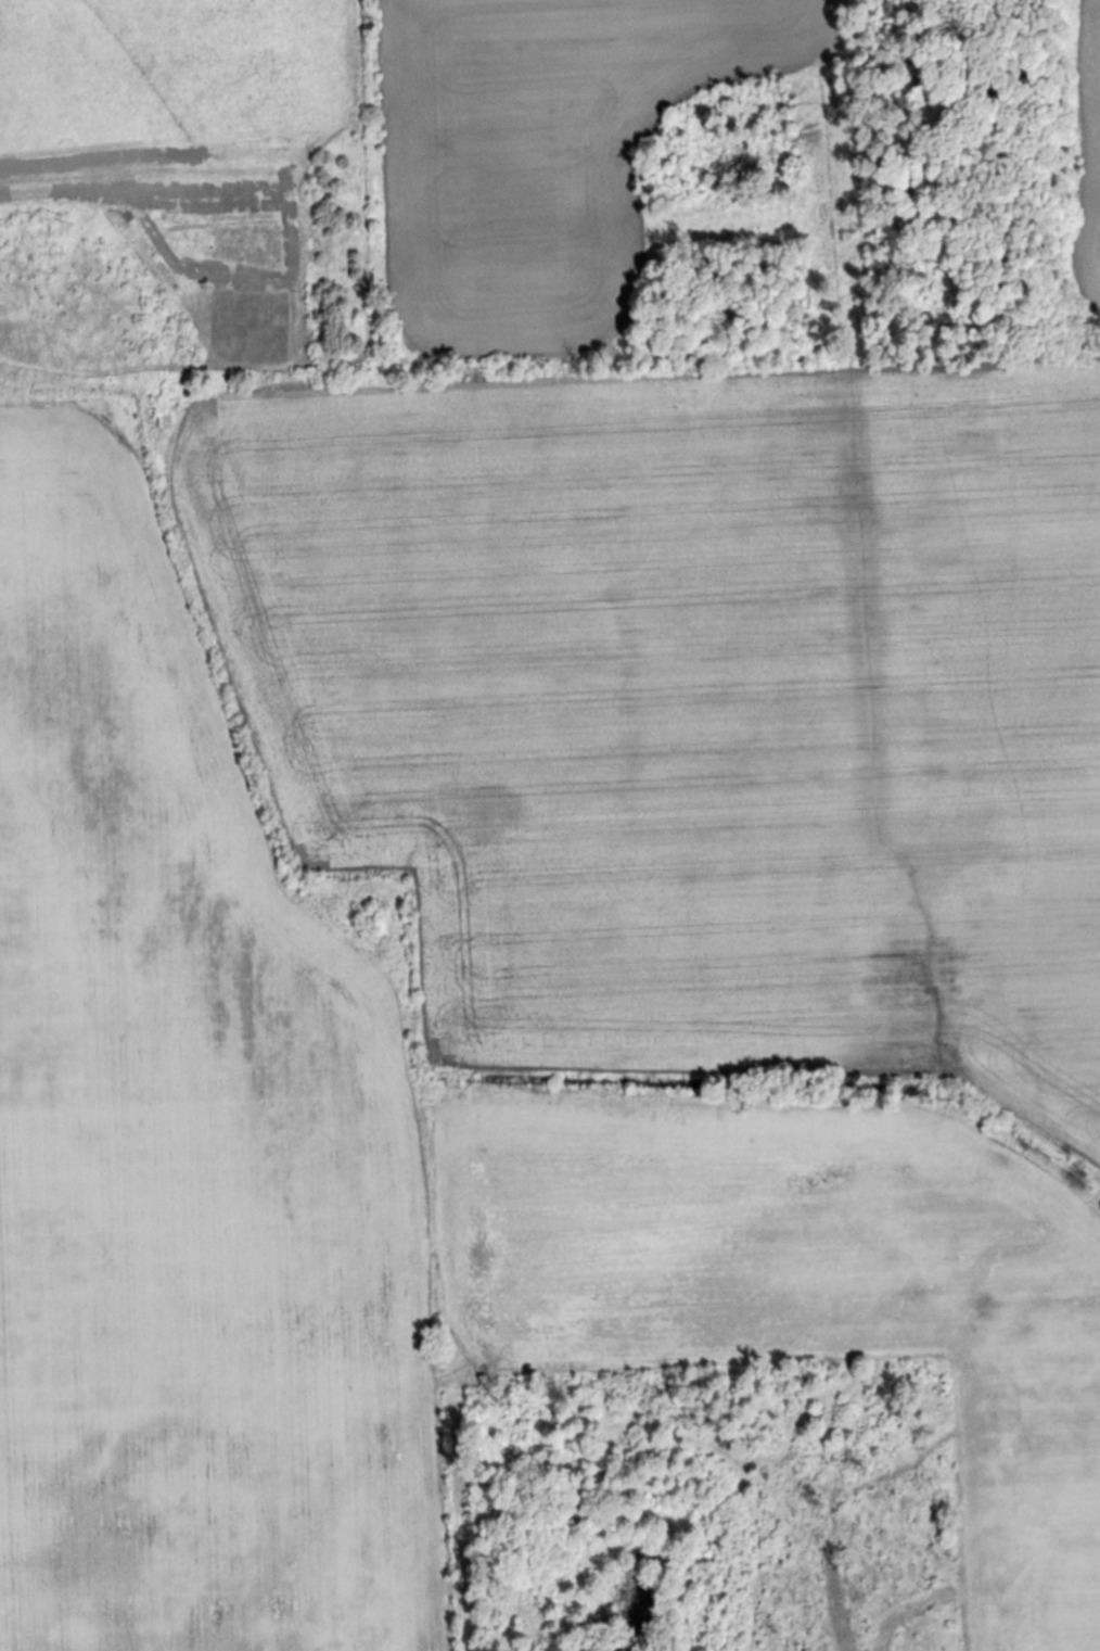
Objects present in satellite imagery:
crop: (705, 693)
crop: (187, 1145)

